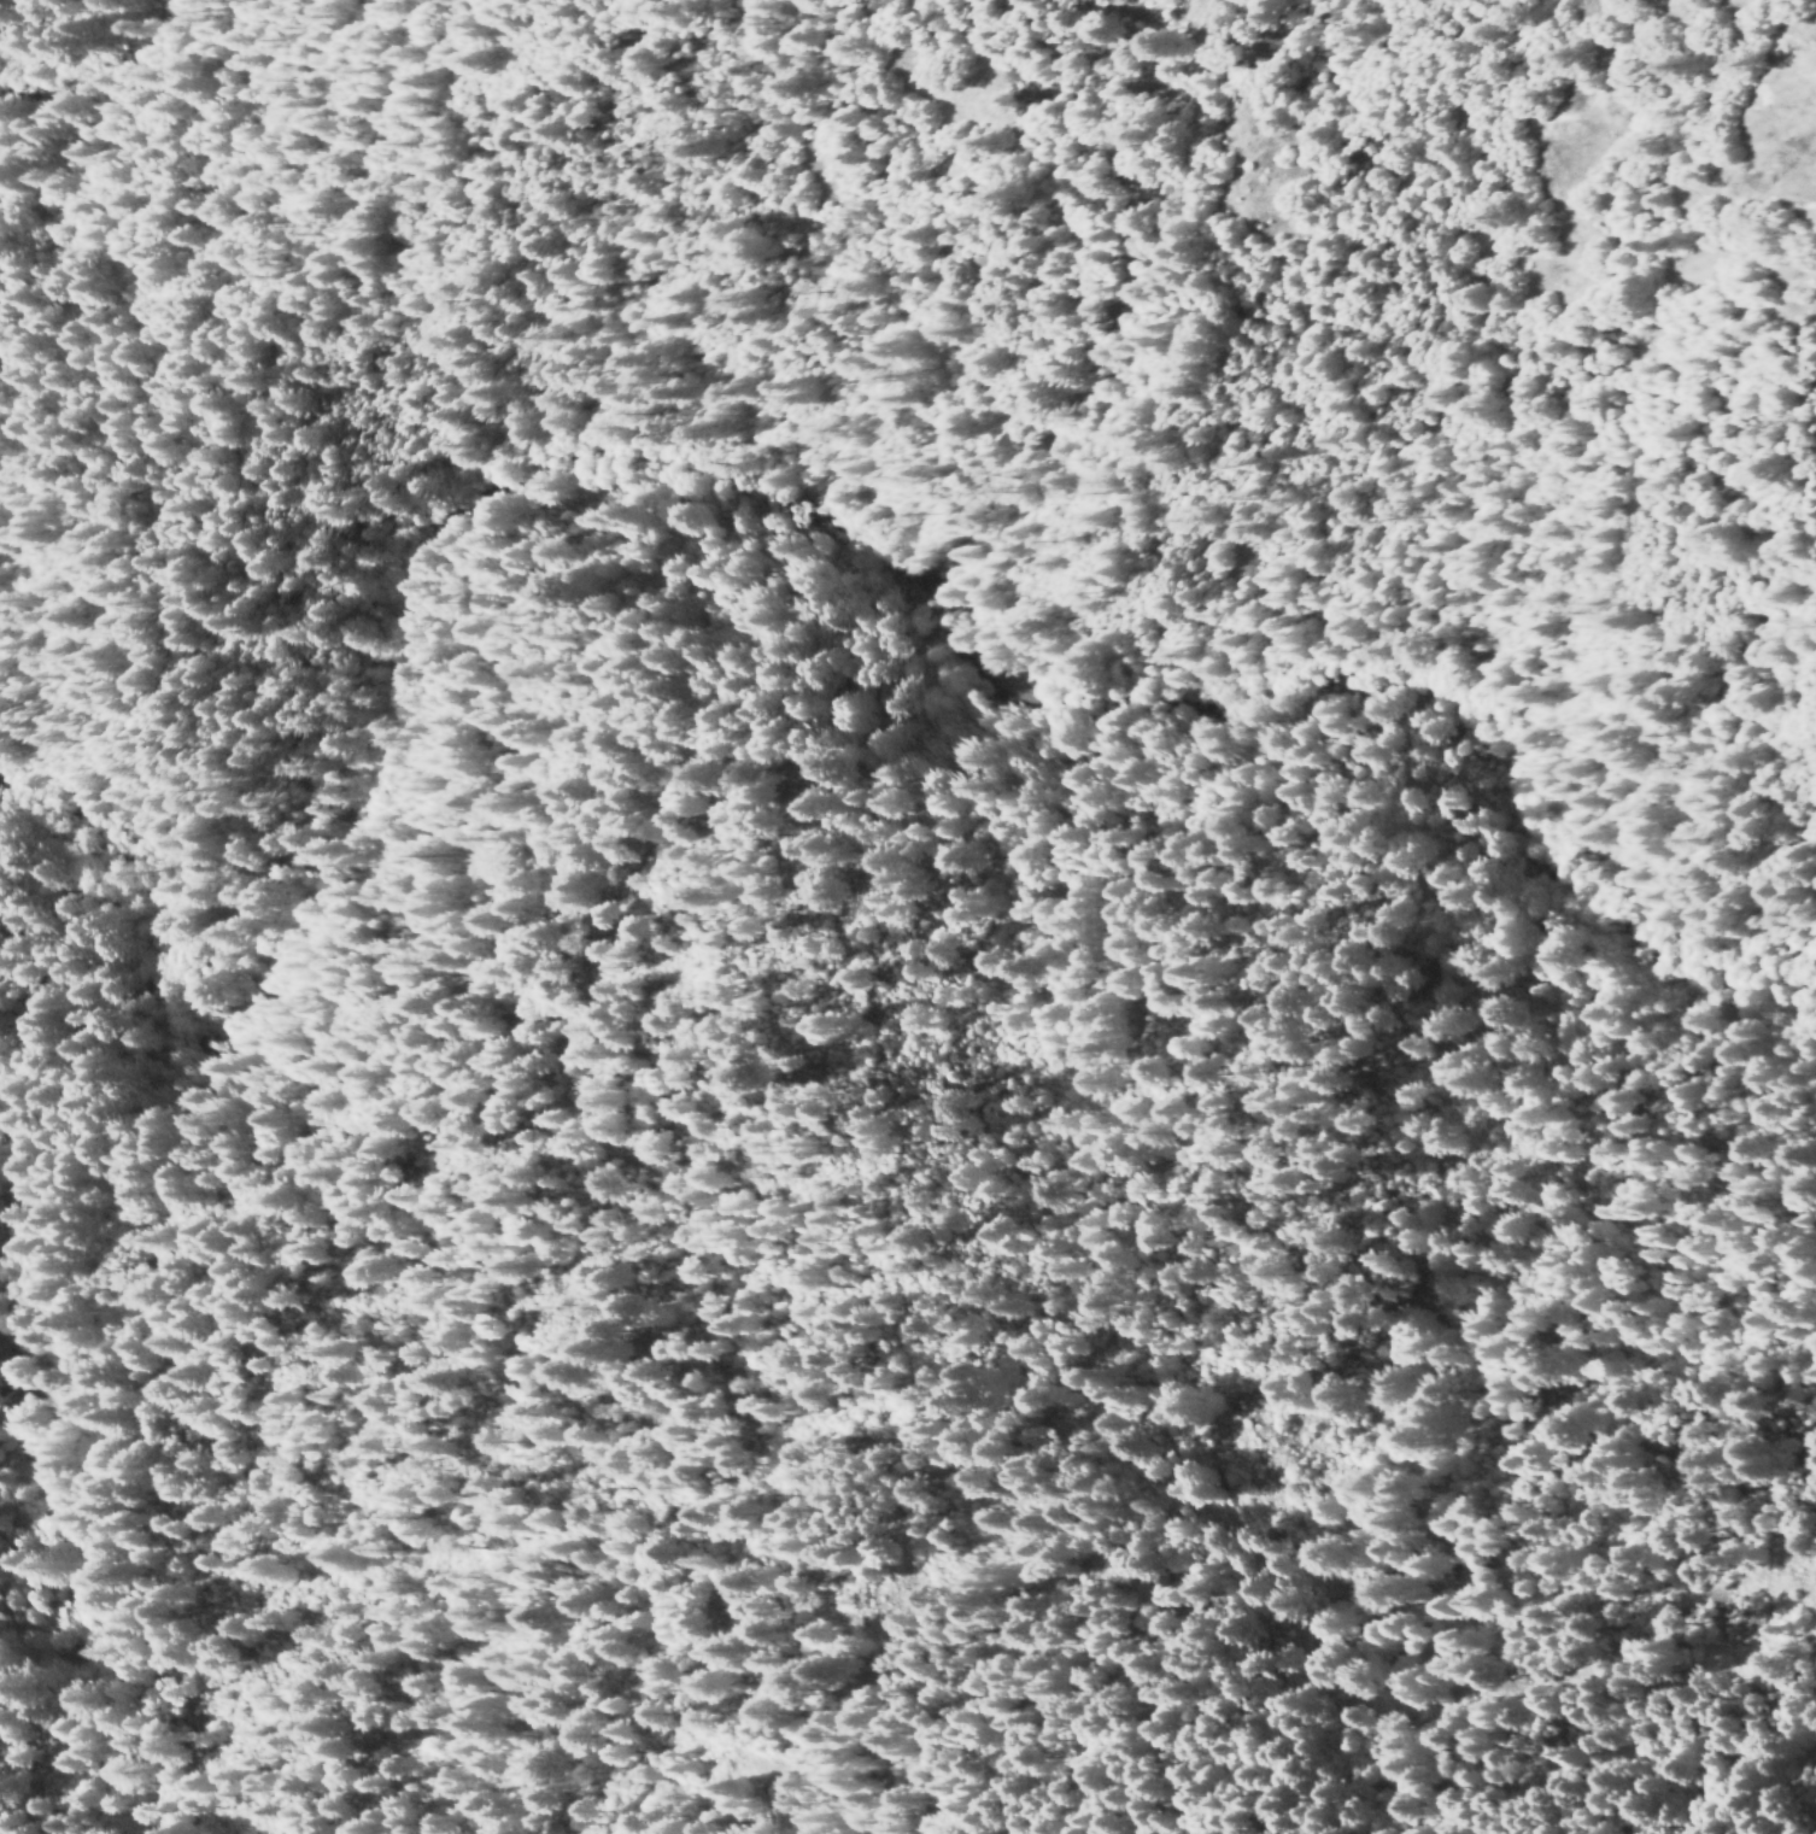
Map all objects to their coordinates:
building: (1267, 1824)

